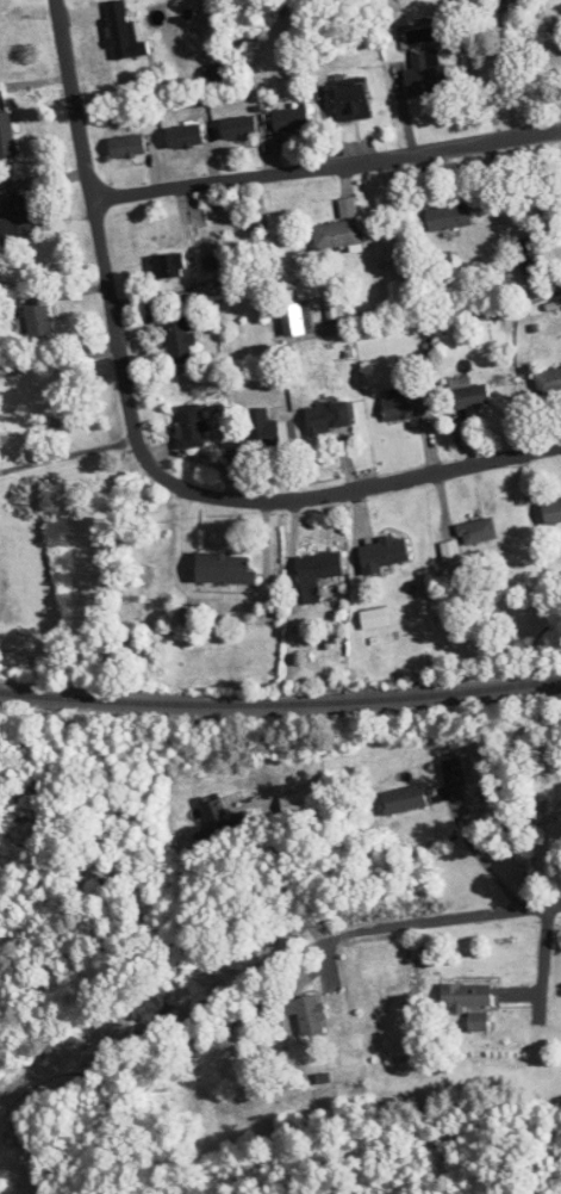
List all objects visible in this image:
building: (5, 4)
building: (125, 38)
building: (426, 73)
building: (353, 101)
building: (291, 119)
building: (239, 128)
building: (185, 136)
building: (7, 137)
building: (127, 146)
road: (328, 165)
building: (449, 217)
building: (15, 221)
building: (339, 229)
building: (530, 260)
building: (169, 266)
building: (335, 309)
building: (37, 316)
building: (297, 317)
building: (179, 339)
road: (60, 360)
building: (549, 381)
building: (468, 394)
building: (404, 406)
building: (329, 416)
building: (192, 427)
road: (137, 444)
road: (68, 456)
building: (551, 512)
building: (478, 532)
building: (450, 551)
building: (384, 555)
building: (225, 569)
building: (317, 574)
building: (374, 619)
railway: (280, 703)
building: (405, 799)
building: (214, 828)
road: (479, 854)
road: (291, 874)
road: (251, 995)
building: (467, 995)
building: (306, 1014)

